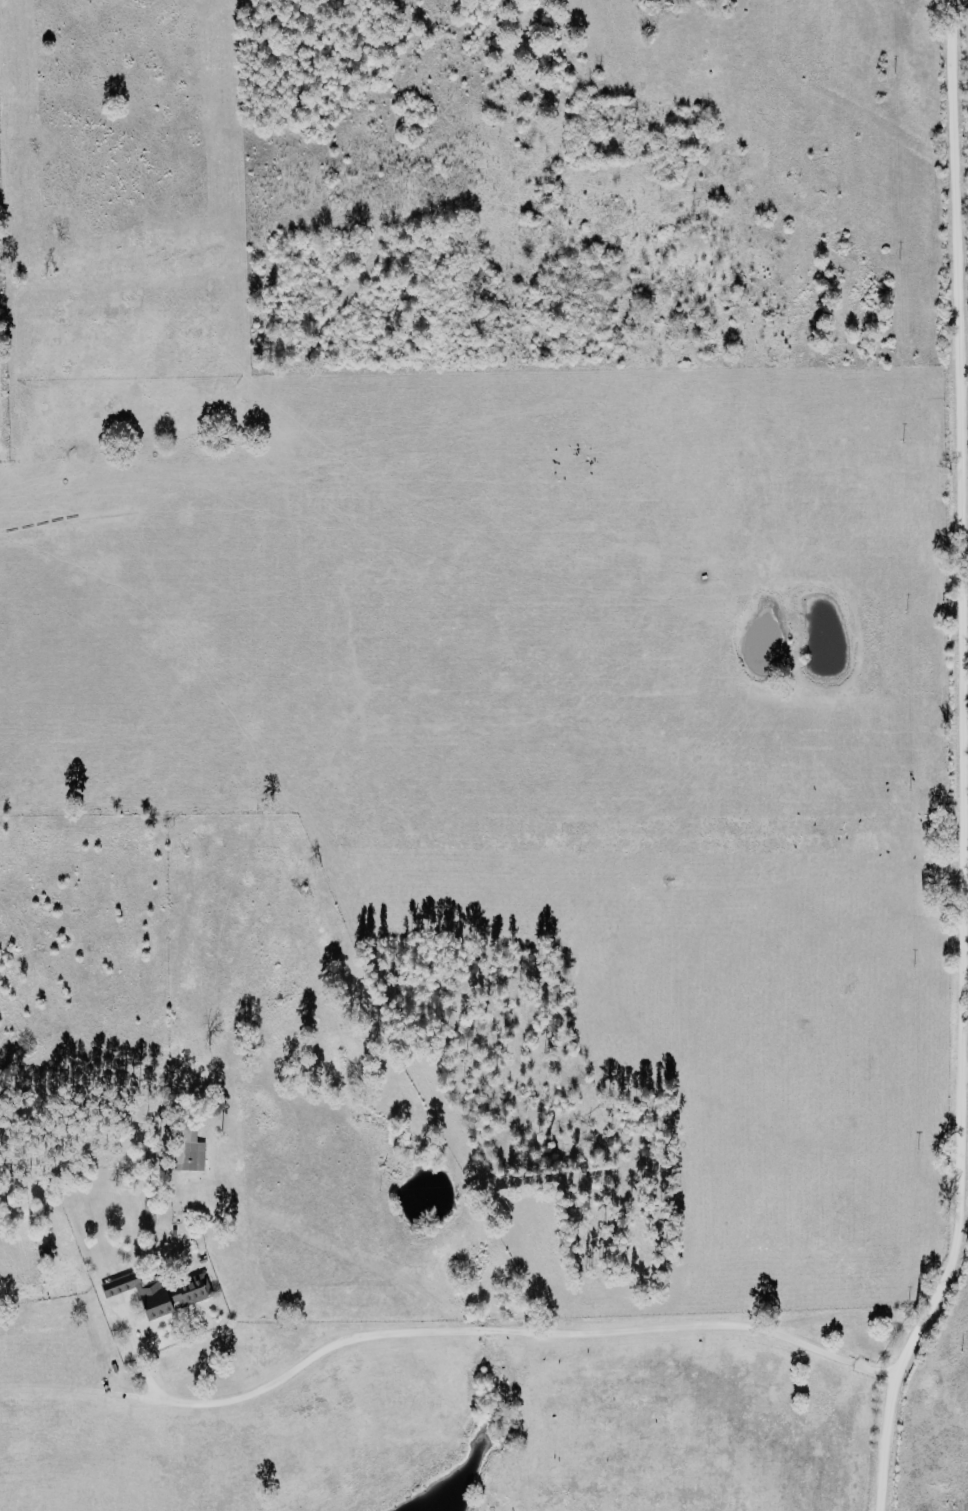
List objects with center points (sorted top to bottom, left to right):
road: (961, 763)
building: (191, 1151)
building: (131, 1295)
building: (185, 1298)
road: (478, 1329)

